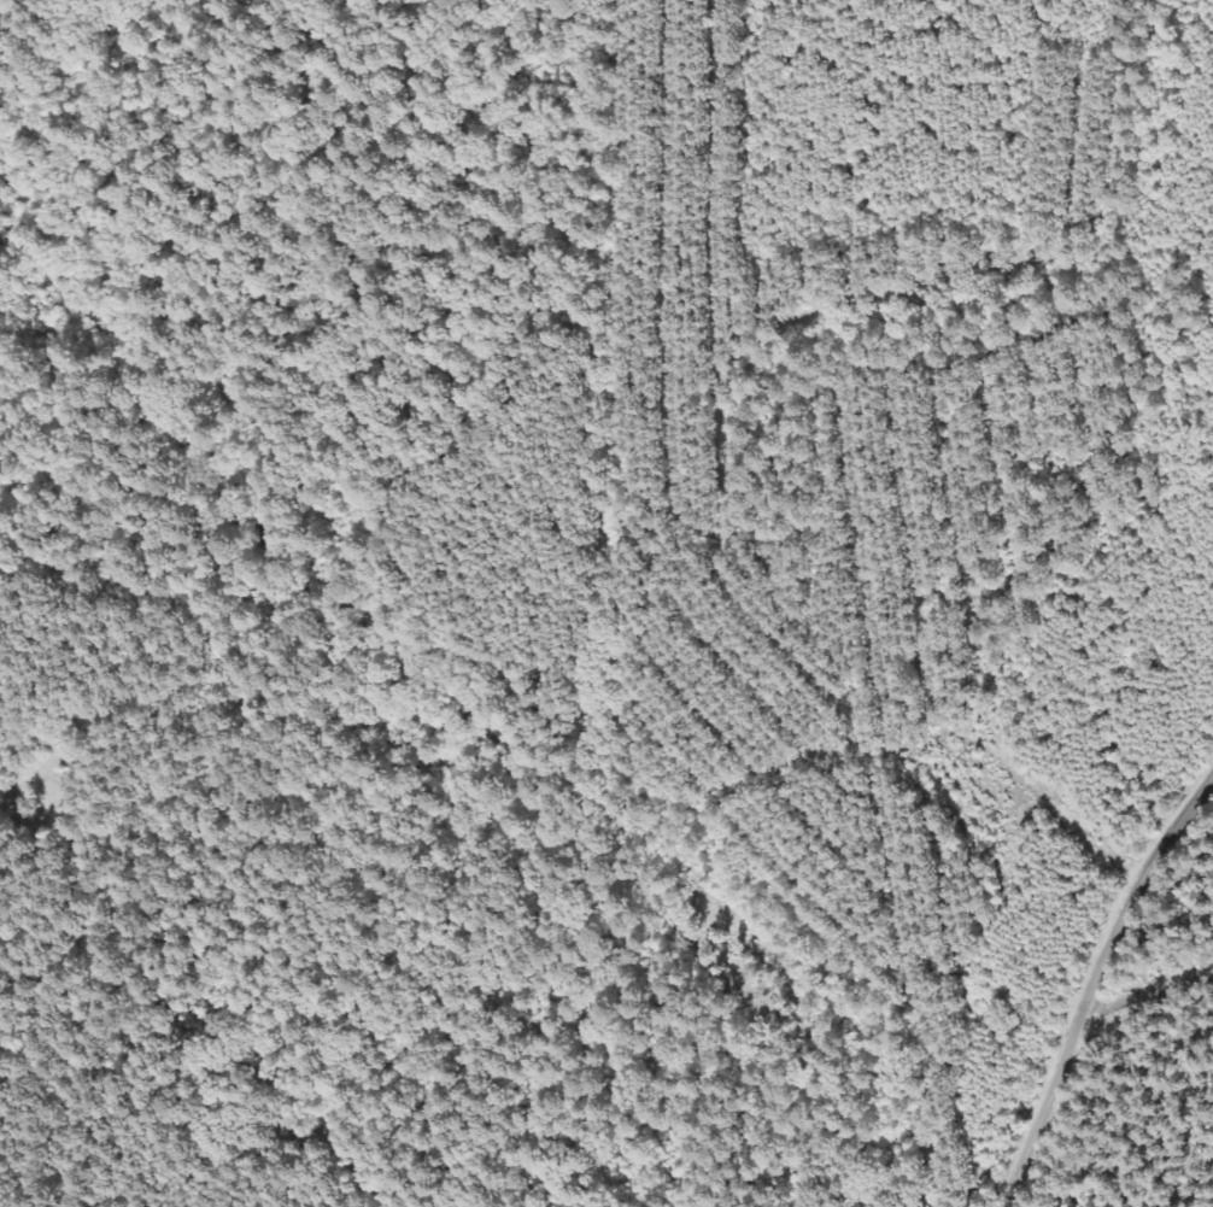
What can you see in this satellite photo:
road: (1109, 1000)

